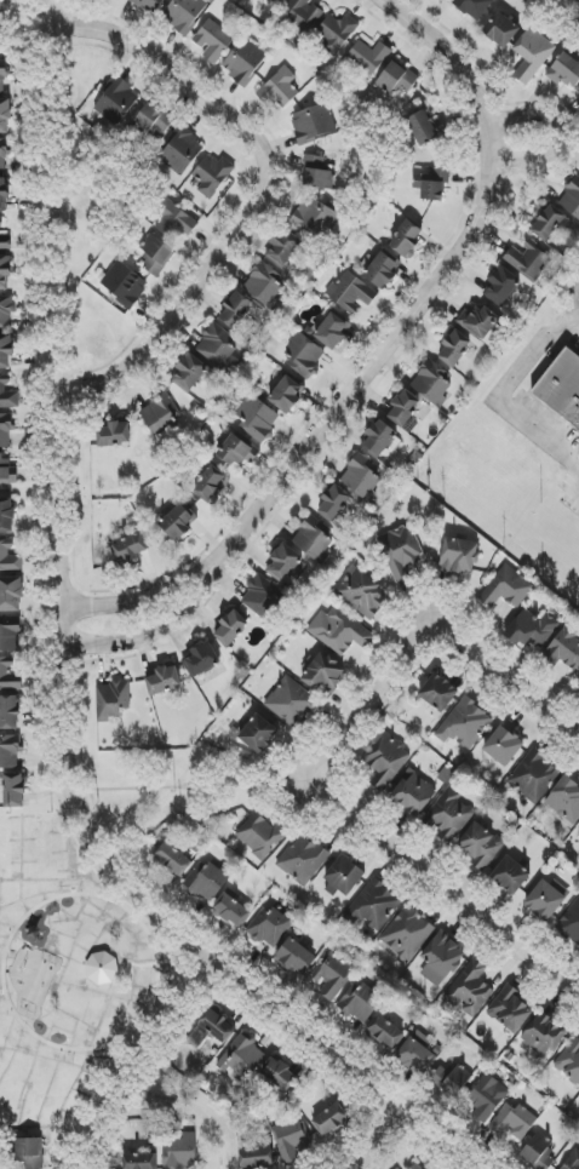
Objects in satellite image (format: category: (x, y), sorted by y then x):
building: (282, 0)
building: (149, 5)
building: (472, 7)
building: (302, 13)
building: (184, 15)
building: (501, 29)
building: (336, 31)
building: (213, 41)
building: (532, 55)
building: (368, 56)
building: (245, 62)
building: (564, 70)
building: (2, 78)
building: (396, 79)
building: (279, 88)
building: (116, 102)
building: (5, 115)
building: (154, 120)
building: (314, 122)
building: (425, 127)
road: (521, 131)
building: (182, 150)
building: (2, 155)
building: (319, 173)
building: (212, 176)
building: (432, 184)
building: (2, 193)
road: (273, 196)
building: (571, 199)
building: (316, 217)
building: (176, 223)
building: (548, 223)
building: (407, 239)
building: (5, 242)
building: (283, 250)
building: (155, 256)
building: (527, 260)
building: (380, 270)
building: (5, 274)
building: (124, 285)
building: (264, 285)
building: (501, 286)
building: (350, 292)
building: (239, 310)
building: (6, 311)
building: (480, 322)
building: (332, 331)
building: (216, 345)
building: (454, 348)
building: (6, 350)
building: (303, 356)
road: (374, 362)
building: (189, 373)
building: (432, 384)
building: (562, 390)
building: (286, 394)
road: (501, 394)
building: (7, 395)
building: (403, 407)
building: (159, 416)
building: (256, 417)
building: (5, 430)
building: (114, 434)
building: (380, 440)
building: (236, 452)
building: (7, 470)
building: (361, 479)
building: (211, 485)
building: (333, 503)
building: (6, 516)
building: (178, 522)
building: (313, 543)
building: (128, 550)
building: (401, 551)
building: (459, 556)
building: (8, 557)
building: (286, 565)
building: (506, 588)
road: (156, 590)
building: (361, 592)
building: (11, 594)
building: (262, 601)
building: (230, 628)
building: (533, 628)
road: (172, 631)
building: (339, 631)
building: (10, 634)
road: (145, 648)
building: (566, 648)
road: (481, 653)
road: (102, 659)
building: (201, 659)
road: (64, 675)
building: (323, 675)
building: (8, 676)
building: (164, 680)
building: (577, 684)
building: (438, 693)
building: (111, 699)
building: (292, 701)
building: (8, 711)
building: (465, 724)
building: (258, 734)
building: (504, 746)
building: (10, 751)
building: (384, 761)
building: (533, 777)
building: (13, 791)
building: (413, 793)
building: (566, 800)
building: (448, 815)
building: (260, 836)
building: (480, 846)
road: (402, 848)
building: (303, 859)
building: (172, 860)
building: (344, 875)
building: (511, 875)
building: (207, 882)
building: (545, 900)
building: (374, 906)
building: (231, 911)
building: (571, 923)
building: (269, 927)
road: (6, 929)
building: (407, 933)
road: (179, 957)
building: (296, 957)
building: (441, 958)
building: (84, 967)
building: (104, 969)
park: (67, 973)
building: (334, 975)
building: (470, 990)
building: (360, 1002)
building: (510, 1010)
road: (4, 1013)
building: (217, 1025)
building: (385, 1032)
building: (543, 1036)
road: (86, 1050)
building: (417, 1054)
building: (245, 1056)
road: (132, 1058)
building: (569, 1061)
building: (280, 1075)
building: (447, 1082)
building: (487, 1098)
building: (331, 1121)
building: (512, 1122)
building: (291, 1140)
road: (377, 1141)
building: (180, 1152)
building: (539, 1152)
building: (29, 1153)
building: (256, 1158)
building: (139, 1161)
building: (572, 1161)
building: (415, 1167)

